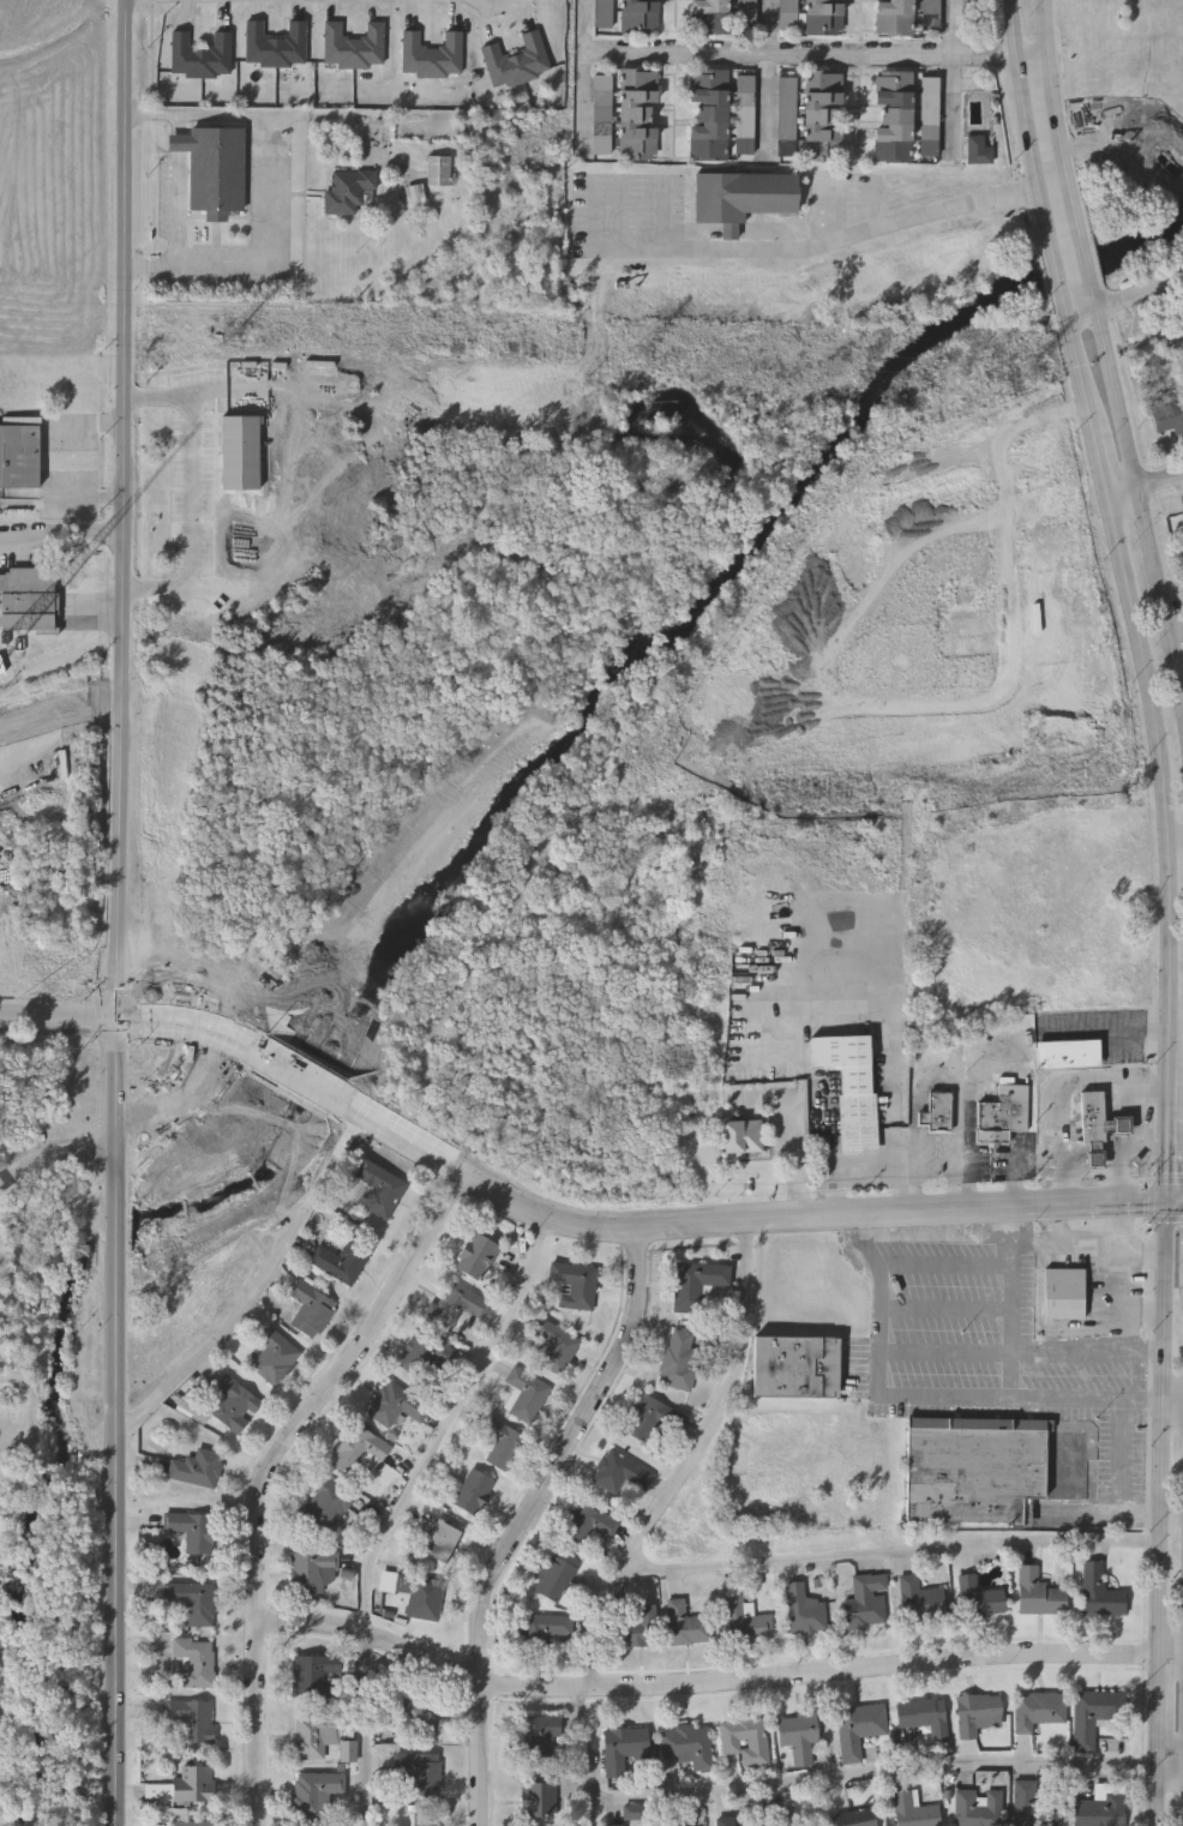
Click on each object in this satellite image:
building: (639, 16)
building: (711, 17)
building: (823, 17)
building: (895, 18)
building: (276, 46)
building: (354, 47)
building: (432, 55)
road: (817, 55)
building: (202, 56)
building: (517, 61)
road: (770, 76)
road: (957, 77)
road: (587, 79)
building: (637, 113)
building: (709, 114)
road: (1055, 114)
building: (785, 115)
building: (822, 115)
road: (254, 116)
building: (894, 116)
road: (1023, 116)
building: (746, 118)
road: (181, 124)
park: (1134, 140)
building: (977, 151)
park: (1134, 158)
building: (214, 167)
building: (438, 169)
building: (348, 190)
building: (741, 197)
road: (181, 210)
road: (597, 212)
road: (621, 212)
road: (831, 240)
road: (1085, 260)
road: (268, 265)
road: (1057, 266)
road: (1141, 293)
road: (1095, 301)
road: (1067, 307)
road: (1083, 312)
power tower: (222, 336)
power tower: (643, 359)
road: (1080, 366)
power tower: (1028, 372)
road: (1117, 398)
building: (1169, 418)
building: (19, 457)
road: (1100, 457)
road: (1159, 480)
road: (1123, 492)
road: (84, 494)
road: (192, 497)
building: (1182, 511)
road: (58, 534)
road: (1157, 583)
building: (26, 602)
road: (1181, 689)
road: (1165, 770)
road: (1176, 836)
road: (119, 913)
road: (118, 1001)
road: (100, 1020)
traffic signals: (120, 1020)
road: (150, 1020)
road: (134, 1021)
road: (1112, 1023)
road: (116, 1040)
building: (745, 1041)
building: (1067, 1053)
road: (937, 1074)
road: (319, 1088)
building: (849, 1088)
road: (1065, 1091)
building: (939, 1111)
building: (1092, 1118)
building: (993, 1119)
road: (1171, 1124)
building: (740, 1136)
road: (1155, 1140)
road: (1134, 1143)
road: (55, 1163)
building: (376, 1187)
traffic signals: (1171, 1199)
road: (1177, 1199)
road: (745, 1219)
road: (1035, 1242)
road: (1093, 1242)
road: (1145, 1242)
building: (475, 1254)
building: (340, 1259)
road: (943, 1266)
building: (695, 1281)
building: (572, 1283)
road: (259, 1289)
building: (1063, 1293)
road: (1127, 1296)
road: (1010, 1299)
building: (455, 1304)
building: (308, 1308)
road: (944, 1310)
road: (1146, 1314)
building: (554, 1345)
building: (424, 1353)
road: (1021, 1353)
building: (275, 1356)
building: (679, 1358)
building: (794, 1365)
road: (1142, 1375)
building: (524, 1393)
road: (941, 1394)
building: (224, 1404)
building: (394, 1404)
building: (653, 1418)
building: (499, 1442)
road: (1163, 1444)
building: (358, 1449)
building: (196, 1466)
building: (973, 1467)
road: (268, 1468)
building: (620, 1473)
road: (1123, 1473)
building: (472, 1490)
building: (322, 1506)
road: (406, 1507)
road: (1082, 1512)
road: (529, 1516)
road: (650, 1516)
building: (587, 1524)
building: (191, 1527)
building: (439, 1538)
road: (890, 1552)
building: (308, 1569)
building: (551, 1576)
building: (1099, 1590)
building: (1038, 1592)
building: (420, 1593)
building: (978, 1596)
building: (919, 1598)
building: (191, 1599)
building: (866, 1599)
building: (803, 1609)
building: (745, 1620)
building: (685, 1622)
building: (636, 1626)
building: (542, 1627)
building: (193, 1660)
building: (310, 1674)
road: (715, 1681)
building: (410, 1708)
building: (1037, 1708)
building: (975, 1712)
building: (1093, 1713)
building: (191, 1718)
building: (918, 1722)
building: (859, 1728)
road: (1161, 1728)
building: (311, 1732)
building: (797, 1735)
building: (536, 1736)
building: (744, 1738)
building: (686, 1744)
building: (623, 1747)
building: (347, 1750)
road: (1171, 1765)
building: (419, 1768)
road: (876, 1773)
building: (193, 1783)
building: (314, 1791)
road: (1159, 1795)
building: (538, 1797)
building: (1038, 1802)
building: (1100, 1806)
building: (977, 1807)
building: (914, 1808)
building: (632, 1810)
building: (426, 1818)
building: (780, 1818)
building: (854, 1818)
building: (671, 1820)
building: (191, 1821)
building: (729, 1821)
building: (612, 1824)
building: (806, 1825)

